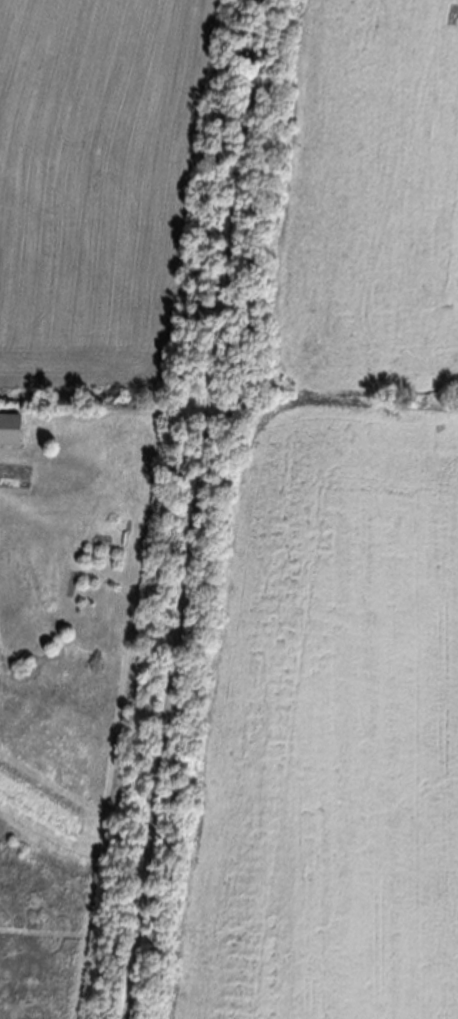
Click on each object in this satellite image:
building: (10, 426)
road: (198, 509)

